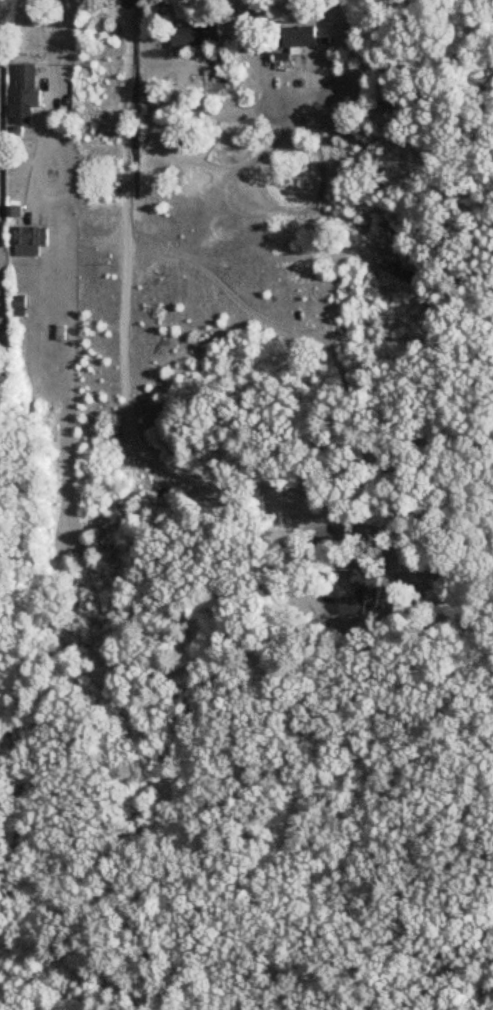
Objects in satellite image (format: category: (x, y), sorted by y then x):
building: (196, 36)
building: (296, 38)
building: (24, 95)
road: (47, 102)
building: (331, 137)
building: (30, 241)
building: (18, 306)
building: (57, 333)

